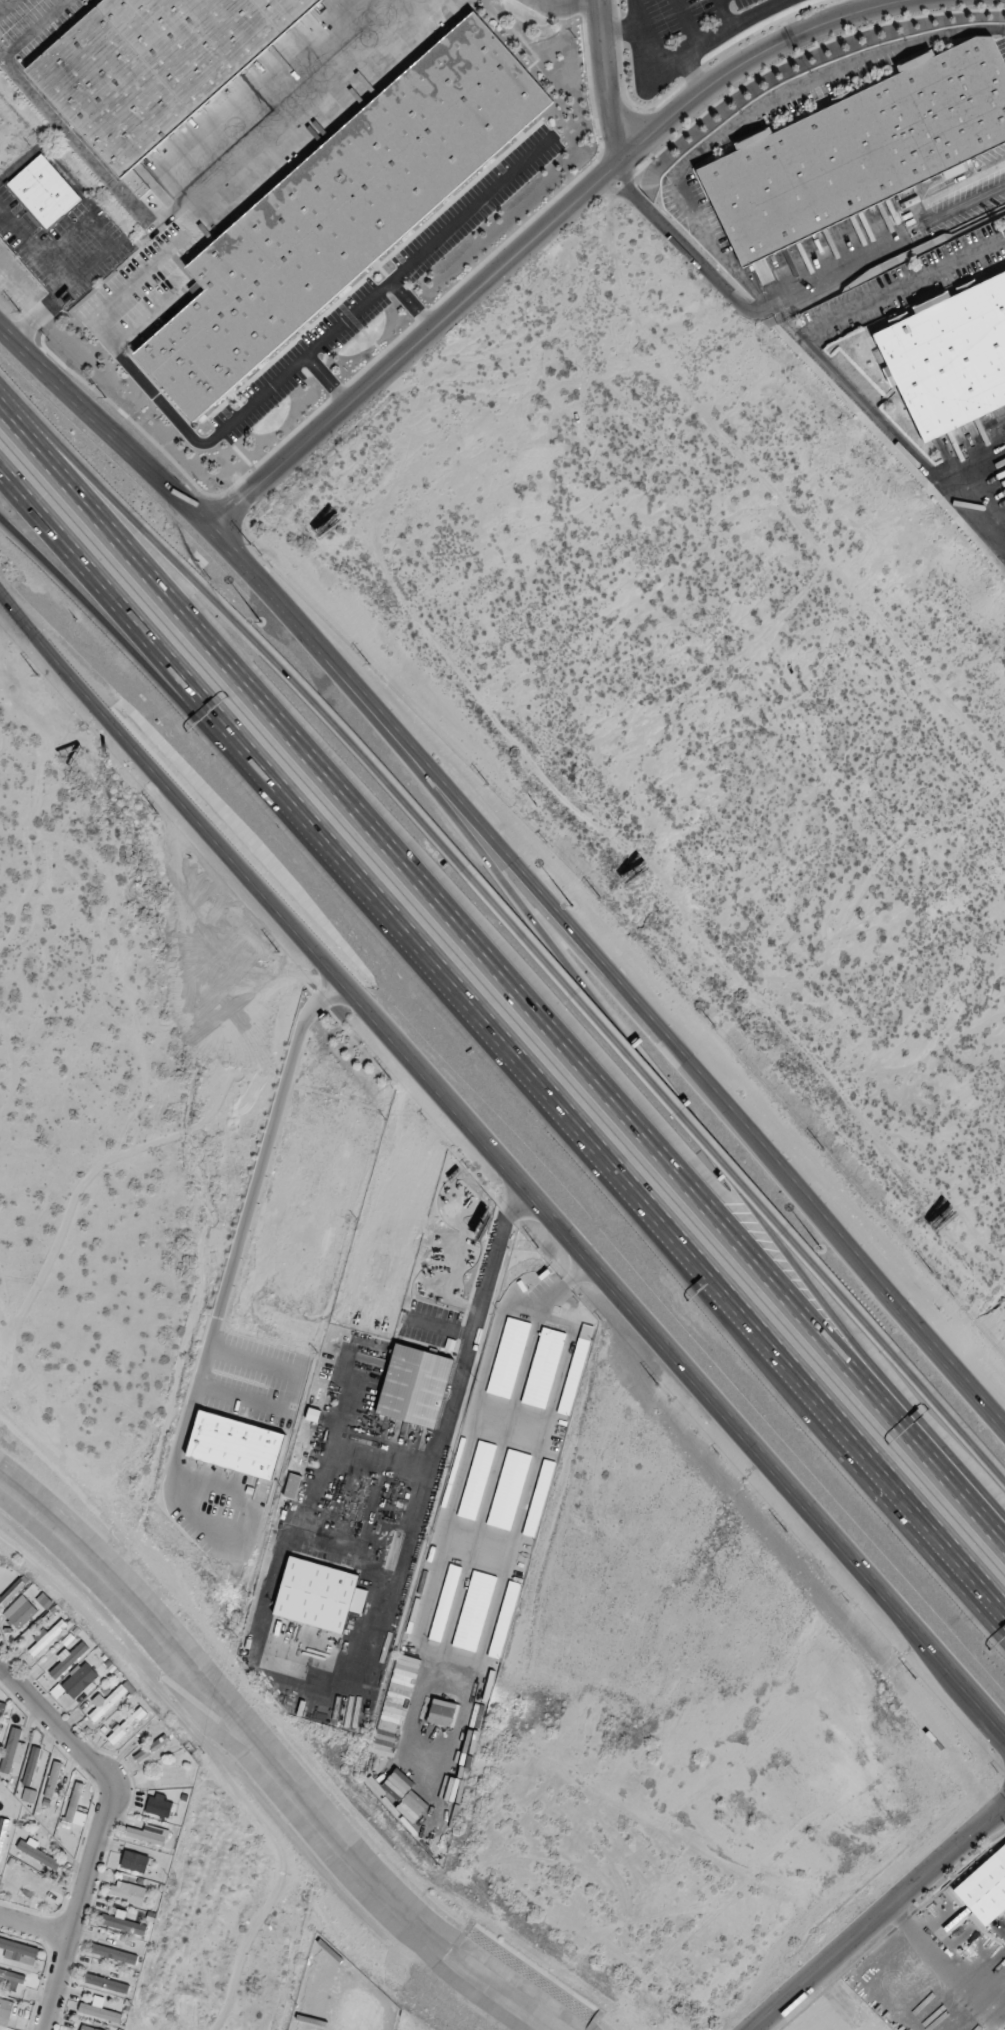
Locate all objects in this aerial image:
road: (6, 5)
building: (287, 11)
road: (33, 29)
building: (196, 40)
road: (605, 76)
building: (110, 93)
road: (76, 143)
building: (860, 149)
building: (42, 192)
building: (342, 211)
road: (539, 228)
road: (911, 281)
road: (412, 303)
road: (143, 318)
building: (949, 353)
road: (328, 379)
road: (268, 388)
road: (981, 466)
road: (244, 629)
road: (195, 716)
road: (514, 866)
road: (501, 974)
road: (506, 1036)
road: (686, 1115)
road: (500, 1164)
road: (731, 1179)
road: (233, 1258)
building: (508, 1358)
building: (543, 1368)
building: (573, 1377)
building: (414, 1386)
road: (951, 1417)
road: (440, 1442)
building: (235, 1445)
building: (476, 1480)
building: (292, 1486)
building: (508, 1490)
building: (539, 1498)
building: (315, 1595)
building: (444, 1603)
building: (474, 1611)
building: (19, 1612)
building: (504, 1619)
building: (44, 1638)
building: (67, 1659)
building: (79, 1681)
building: (105, 1702)
building: (0, 1725)
building: (126, 1725)
building: (150, 1748)
building: (10, 1750)
building: (30, 1765)
building: (168, 1778)
building: (51, 1783)
building: (158, 1805)
building: (75, 1806)
building: (2, 1831)
building: (144, 1836)
road: (90, 1845)
building: (36, 1854)
building: (134, 1861)
building: (28, 1885)
building: (985, 1888)
building: (127, 1892)
road: (879, 1920)
building: (122, 1923)
road: (32, 1930)
building: (17, 1952)
building: (114, 1954)
building: (10, 1980)
building: (104, 1983)
building: (5, 2011)
building: (99, 2011)
building: (85, 2028)

